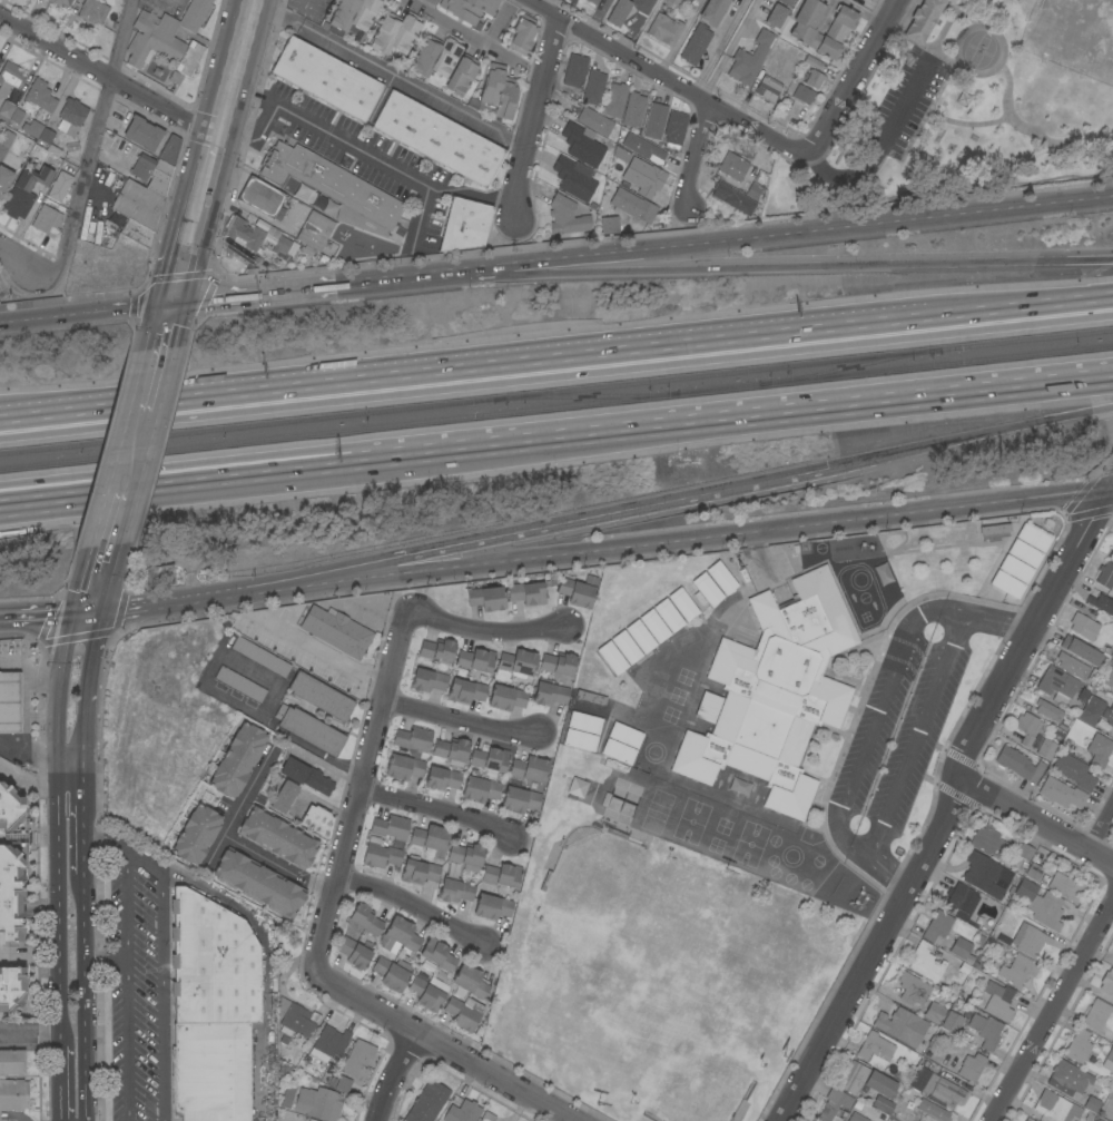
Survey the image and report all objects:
building: (122, 0)
building: (795, 0)
building: (593, 1)
building: (60, 2)
building: (672, 2)
building: (787, 3)
road: (546, 4)
building: (467, 9)
building: (92, 11)
building: (715, 11)
building: (618, 12)
building: (354, 13)
road: (598, 18)
building: (776, 18)
building: (923, 20)
road: (633, 27)
building: (664, 29)
building: (801, 30)
building: (394, 35)
building: (522, 35)
road: (679, 37)
building: (168, 38)
road: (479, 38)
building: (696, 45)
road: (717, 47)
building: (435, 56)
building: (0, 59)
building: (749, 59)
building: (811, 62)
road: (236, 67)
building: (574, 70)
road: (390, 72)
road: (851, 76)
building: (461, 77)
building: (9, 79)
building: (326, 79)
road: (666, 79)
building: (814, 79)
road: (108, 81)
building: (593, 88)
building: (767, 89)
building: (498, 92)
building: (802, 95)
building: (40, 96)
building: (615, 100)
building: (633, 110)
building: (6, 111)
park: (968, 114)
building: (17, 116)
building: (71, 117)
road: (530, 118)
building: (654, 120)
building: (594, 121)
building: (32, 128)
building: (673, 131)
building: (141, 132)
building: (47, 136)
building: (6, 138)
building: (437, 138)
building: (583, 144)
road: (93, 146)
building: (643, 148)
road: (880, 149)
building: (169, 150)
building: (2, 151)
road: (692, 154)
road: (372, 156)
building: (738, 169)
building: (152, 174)
building: (643, 177)
building: (4, 178)
road: (208, 178)
building: (574, 178)
building: (329, 183)
building: (59, 186)
building: (24, 191)
building: (756, 193)
building: (260, 197)
building: (732, 199)
building: (138, 205)
building: (633, 206)
road: (422, 214)
building: (565, 216)
building: (46, 218)
building: (464, 225)
building: (609, 225)
building: (315, 232)
building: (137, 233)
building: (243, 234)
road: (776, 235)
building: (280, 246)
road: (19, 260)
road: (186, 263)
road: (777, 268)
road: (391, 278)
road: (257, 294)
traffic signals: (175, 304)
road: (1027, 304)
road: (132, 308)
road: (45, 318)
road: (167, 333)
railway: (843, 367)
road: (471, 371)
railway: (555, 391)
railway: (575, 396)
railway: (555, 406)
road: (145, 413)
road: (638, 423)
road: (969, 437)
road: (82, 484)
road: (1112, 488)
road: (1112, 488)
road: (118, 503)
road: (570, 521)
building: (995, 529)
road: (712, 534)
building: (1033, 538)
building: (1110, 552)
building: (1024, 553)
building: (1015, 569)
building: (158, 576)
building: (1105, 576)
road: (96, 578)
building: (721, 578)
building: (1006, 584)
building: (707, 589)
building: (578, 591)
building: (526, 593)
road: (199, 598)
building: (485, 598)
building: (682, 603)
building: (1102, 603)
road: (371, 611)
traffic signals: (85, 612)
road: (42, 614)
building: (668, 616)
building: (654, 626)
building: (1083, 627)
road: (485, 628)
building: (336, 631)
building: (640, 637)
building: (626, 647)
building: (436, 650)
road: (317, 651)
building: (1081, 651)
building: (260, 657)
building: (611, 658)
road: (76, 659)
building: (475, 660)
building: (518, 663)
building: (558, 663)
road: (11, 665)
building: (595, 667)
building: (1076, 668)
building: (1106, 676)
building: (427, 680)
building: (239, 685)
building: (1058, 687)
building: (465, 691)
building: (549, 692)
building: (776, 694)
building: (321, 697)
building: (506, 698)
building: (9, 702)
building: (708, 707)
road: (880, 707)
road: (23, 709)
building: (587, 709)
building: (1096, 709)
building: (1047, 710)
road: (47, 718)
road: (461, 719)
building: (584, 722)
building: (1027, 728)
building: (309, 729)
road: (917, 734)
building: (624, 735)
building: (413, 740)
building: (580, 740)
road: (72, 748)
building: (1046, 749)
road: (11, 750)
building: (1099, 750)
building: (451, 751)
building: (618, 751)
building: (237, 760)
building: (490, 760)
building: (1018, 764)
building: (614, 765)
building: (403, 767)
building: (1074, 771)
building: (306, 776)
road: (33, 783)
road: (358, 784)
building: (482, 785)
building: (514, 785)
building: (577, 787)
building: (1061, 794)
building: (284, 797)
building: (600, 797)
road: (948, 805)
road: (434, 807)
building: (9, 808)
building: (317, 820)
road: (1037, 820)
road: (1101, 827)
building: (391, 829)
building: (196, 835)
road: (224, 836)
building: (277, 838)
building: (430, 838)
building: (988, 844)
road: (72, 847)
building: (1024, 852)
building: (380, 854)
building: (466, 856)
road: (135, 859)
building: (418, 872)
building: (1034, 872)
building: (985, 874)
building: (502, 875)
building: (258, 883)
building: (1066, 886)
road: (321, 888)
building: (455, 891)
building: (10, 895)
road: (412, 902)
building: (963, 903)
building: (1041, 905)
building: (492, 906)
building: (365, 920)
building: (936, 926)
building: (398, 936)
building: (1026, 940)
building: (0, 943)
building: (962, 950)
road: (37, 953)
building: (354, 953)
building: (437, 954)
building: (926, 963)
road: (73, 968)
building: (1017, 971)
building: (470, 982)
building: (410, 983)
building: (11, 987)
building: (913, 989)
building: (1112, 993)
building: (997, 1001)
building: (211, 1010)
road: (1052, 1011)
building: (463, 1013)
building: (934, 1013)
building: (1096, 1015)
building: (293, 1021)
building: (952, 1022)
building: (898, 1025)
building: (985, 1031)
building: (328, 1043)
road: (442, 1046)
building: (1077, 1046)
building: (875, 1048)
building: (357, 1058)
building: (1109, 1061)
building: (12, 1062)
building: (971, 1066)
road: (396, 1075)
road: (75, 1078)
building: (1067, 1079)
building: (865, 1081)
building: (343, 1084)
building: (937, 1089)
building: (13, 1095)
building: (287, 1098)
building: (427, 1102)
building: (317, 1103)
building: (834, 1104)
building: (881, 1104)
building: (1092, 1104)
building: (1058, 1108)
building: (461, 1109)
building: (934, 1112)
building: (487, 1117)
building: (856, 1118)
building: (308, 1120)
building: (1028, 1120)

